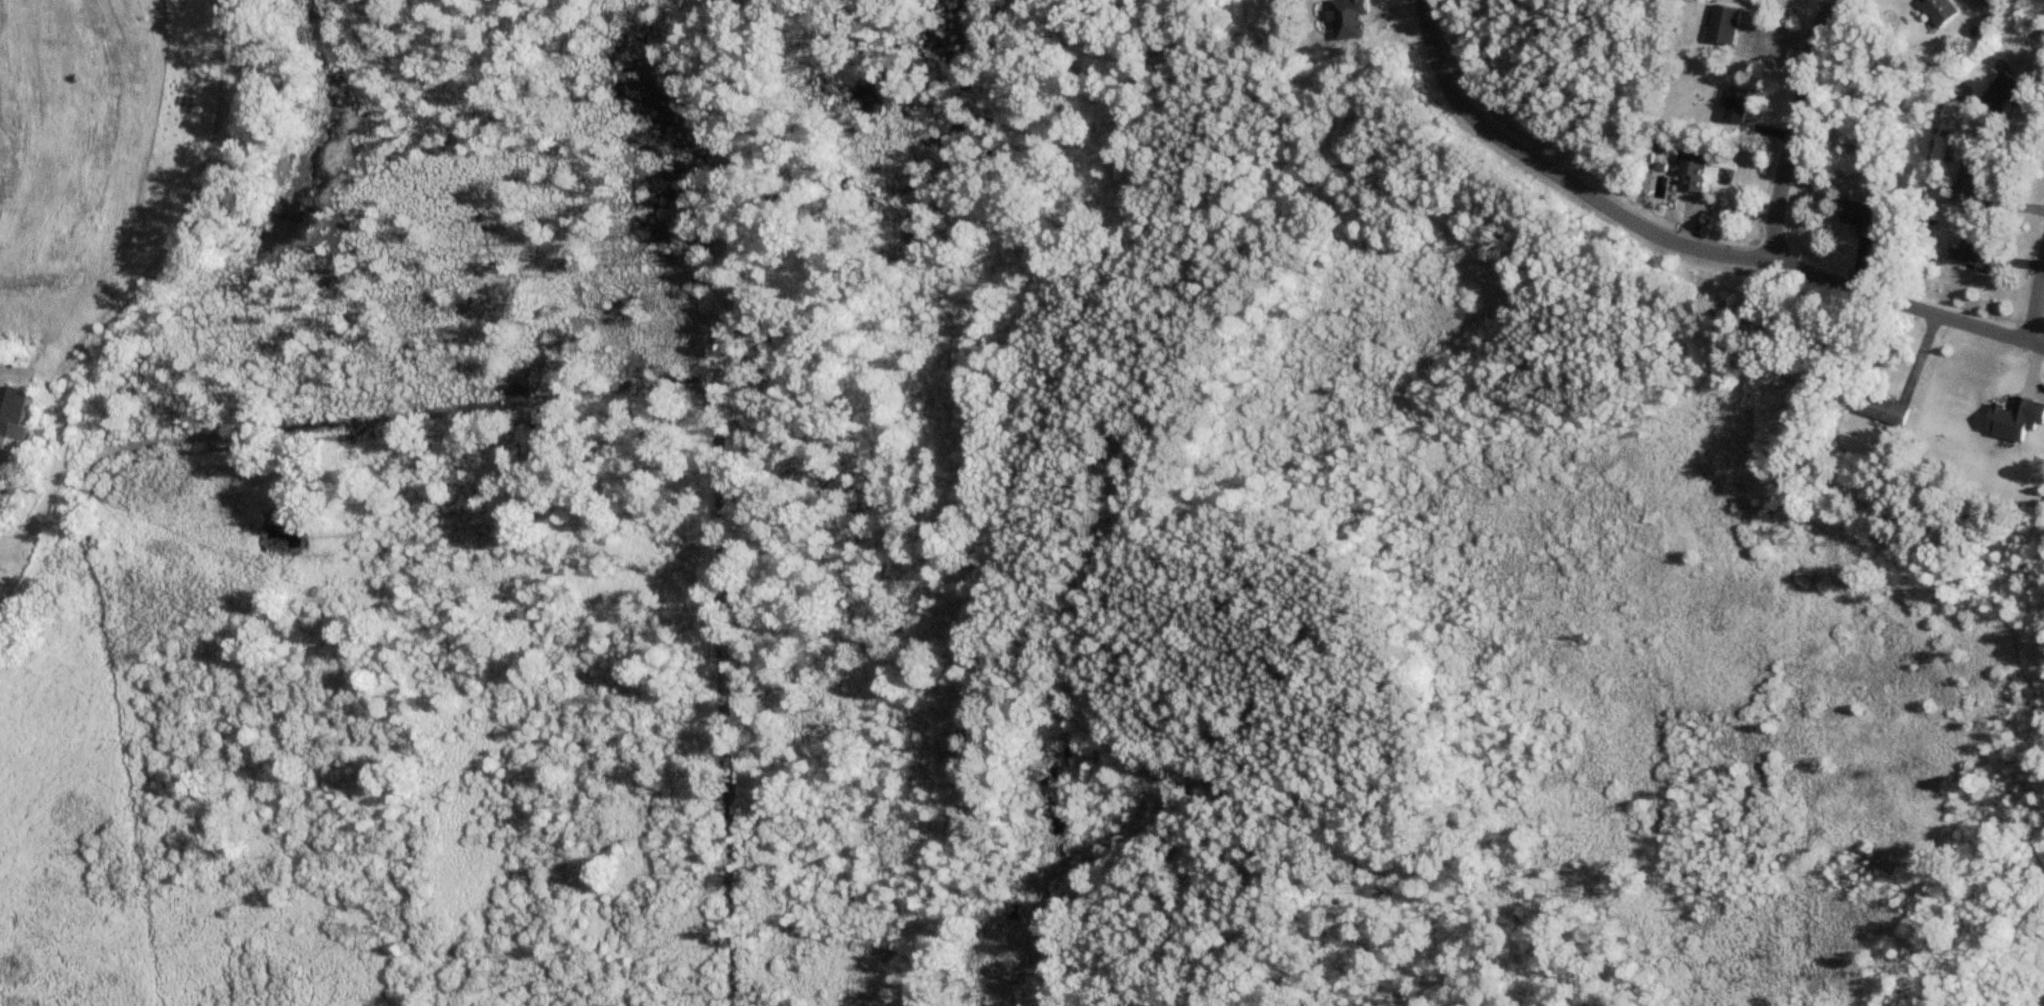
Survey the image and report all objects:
building: (1990, 1)
building: (1940, 10)
building: (1348, 18)
building: (1723, 23)
building: (2008, 90)
road: (1455, 93)
building: (1736, 104)
building: (1693, 169)
building: (1970, 185)
road: (1784, 186)
building: (1863, 216)
road: (1647, 240)
building: (1976, 252)
road: (2041, 322)
road: (1971, 325)
building: (1886, 409)
building: (2016, 417)
building: (11, 430)

